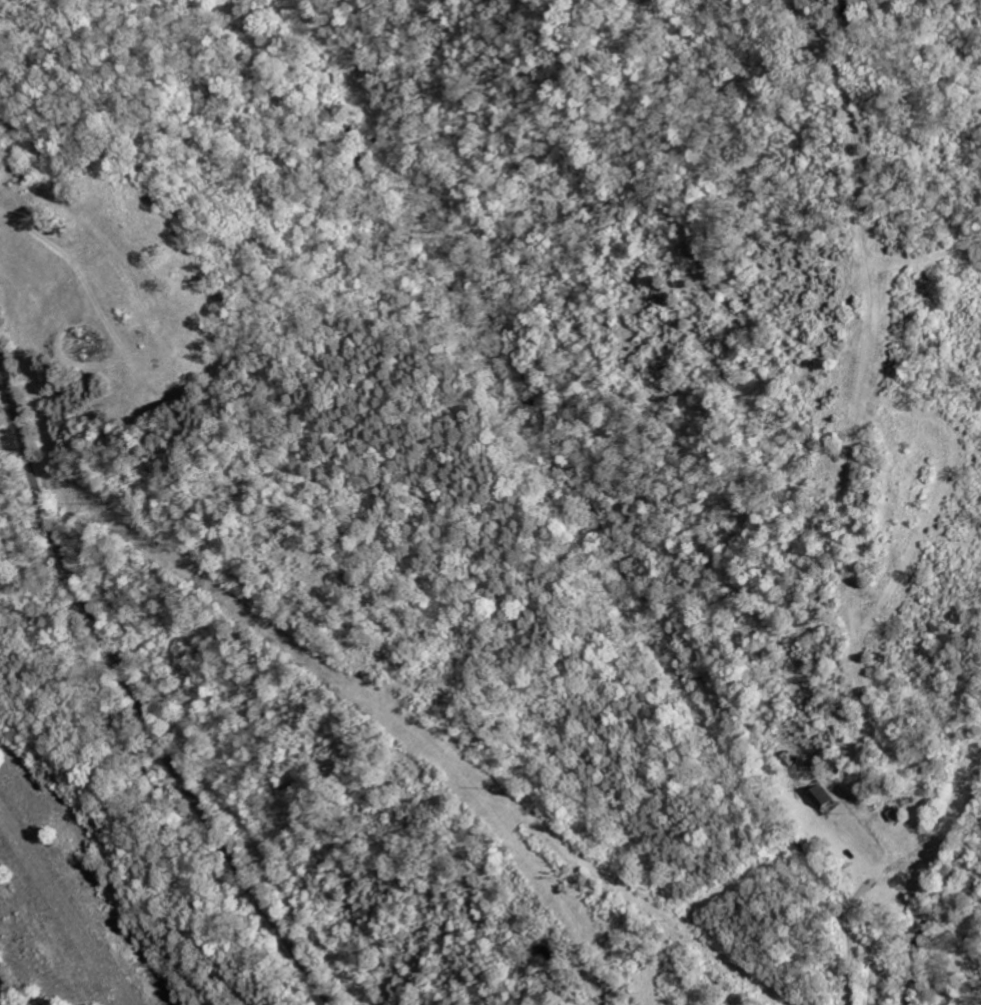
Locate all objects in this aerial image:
building: (23, 175)
road: (82, 258)
building: (119, 316)
road: (135, 694)
building: (818, 795)
building: (892, 814)
road: (845, 932)

